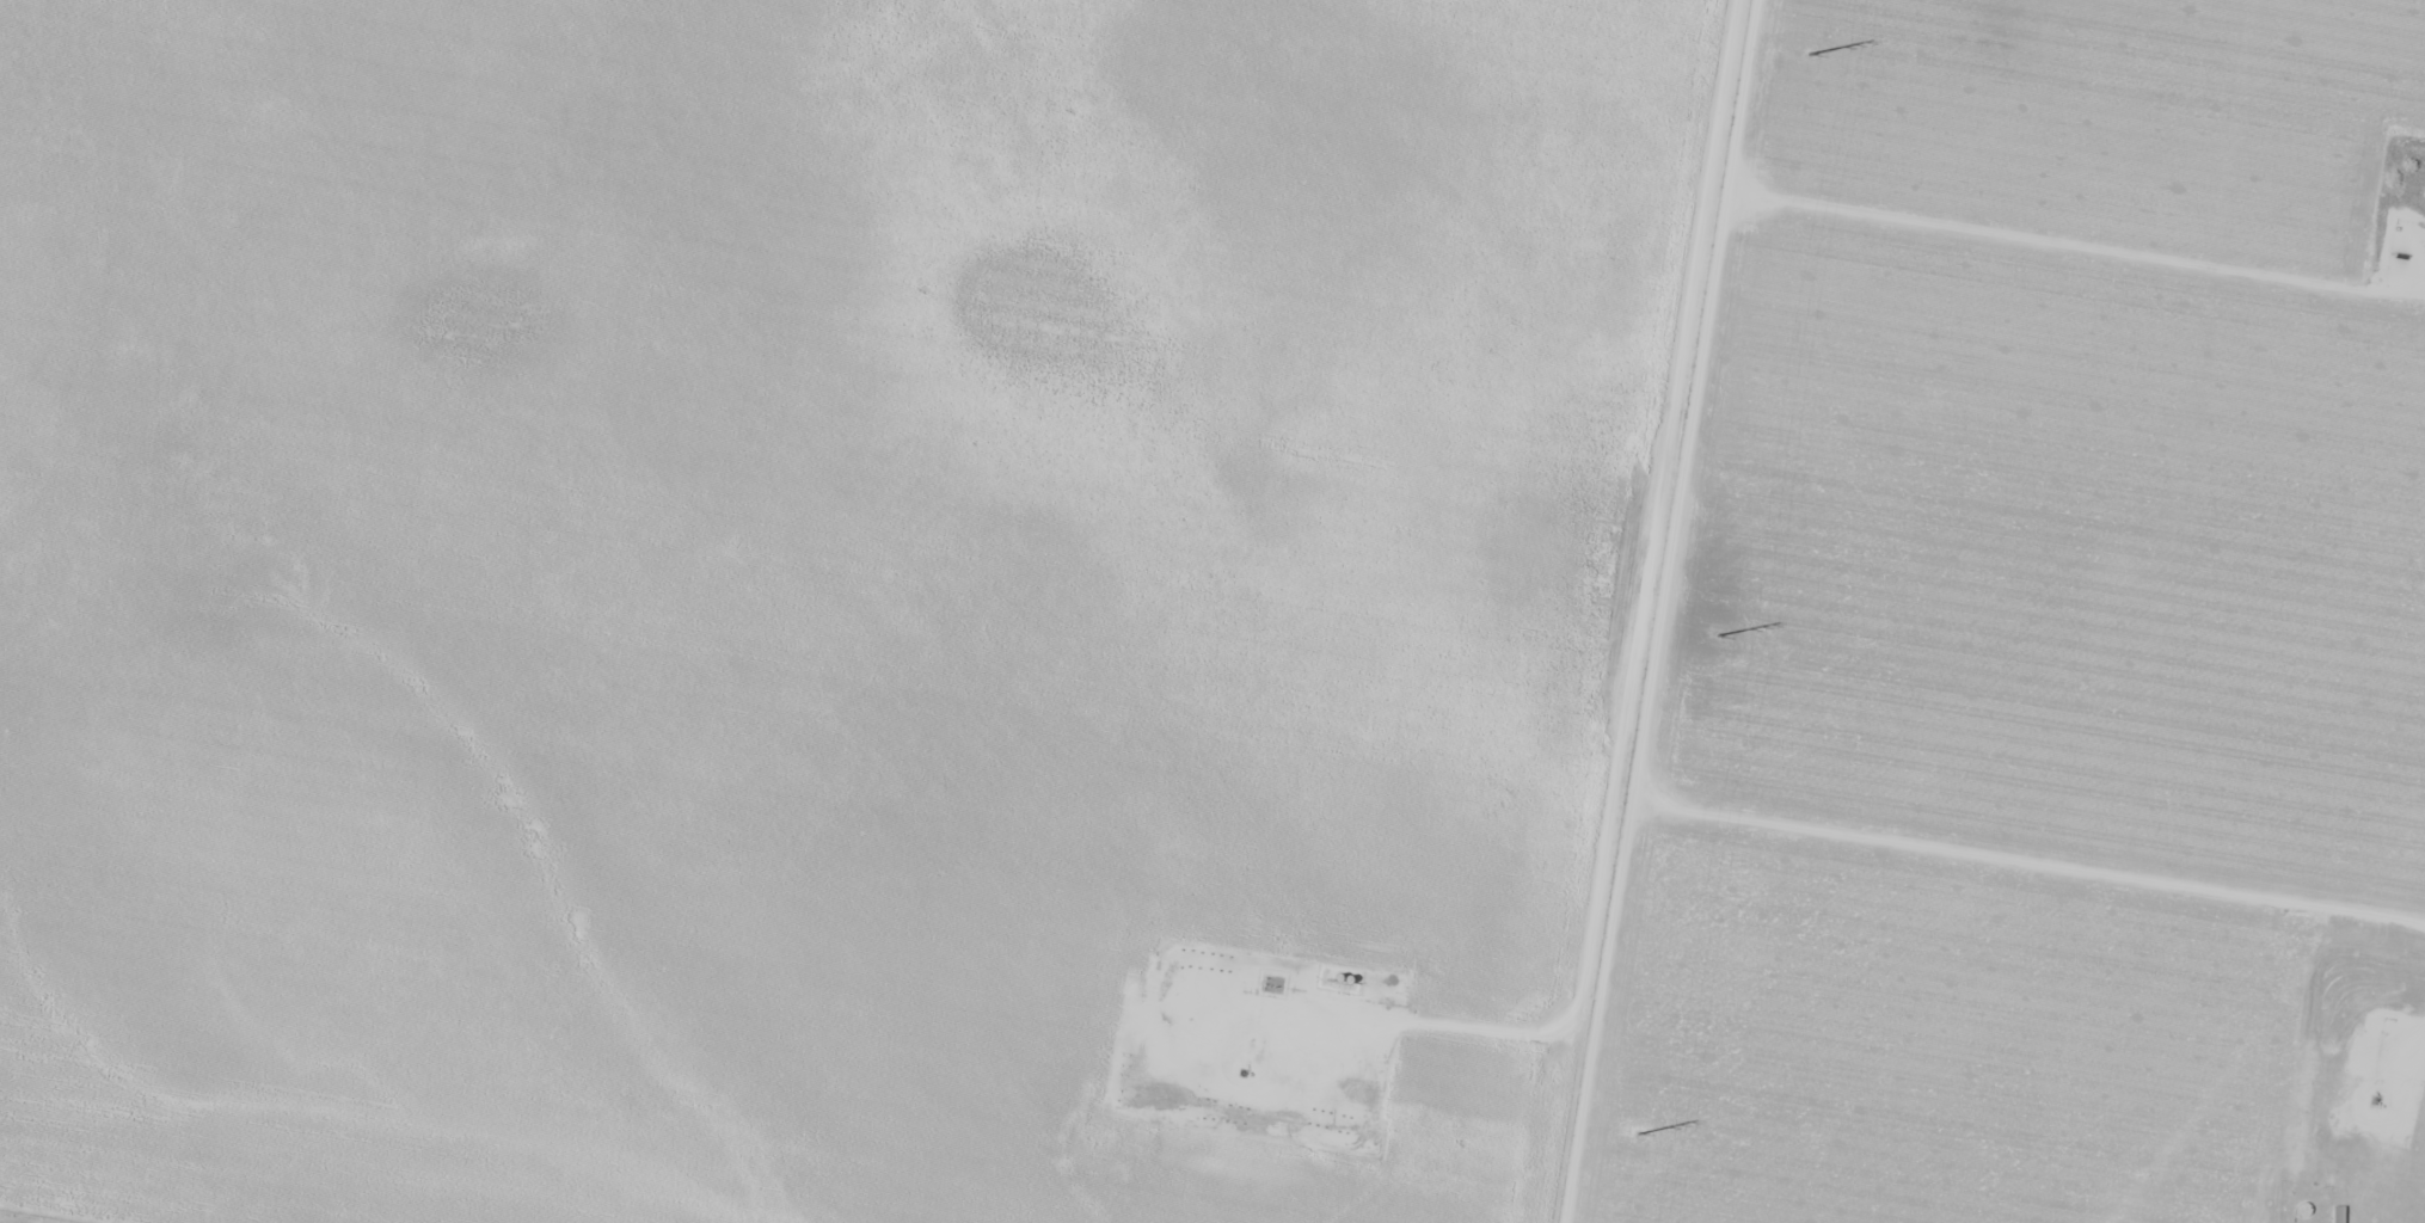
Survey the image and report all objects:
power tower: (1817, 56)
road: (1091, 99)
road: (1629, 609)
road: (885, 610)
power tower: (1725, 635)
power tower: (1646, 1138)
building: (2304, 1210)

